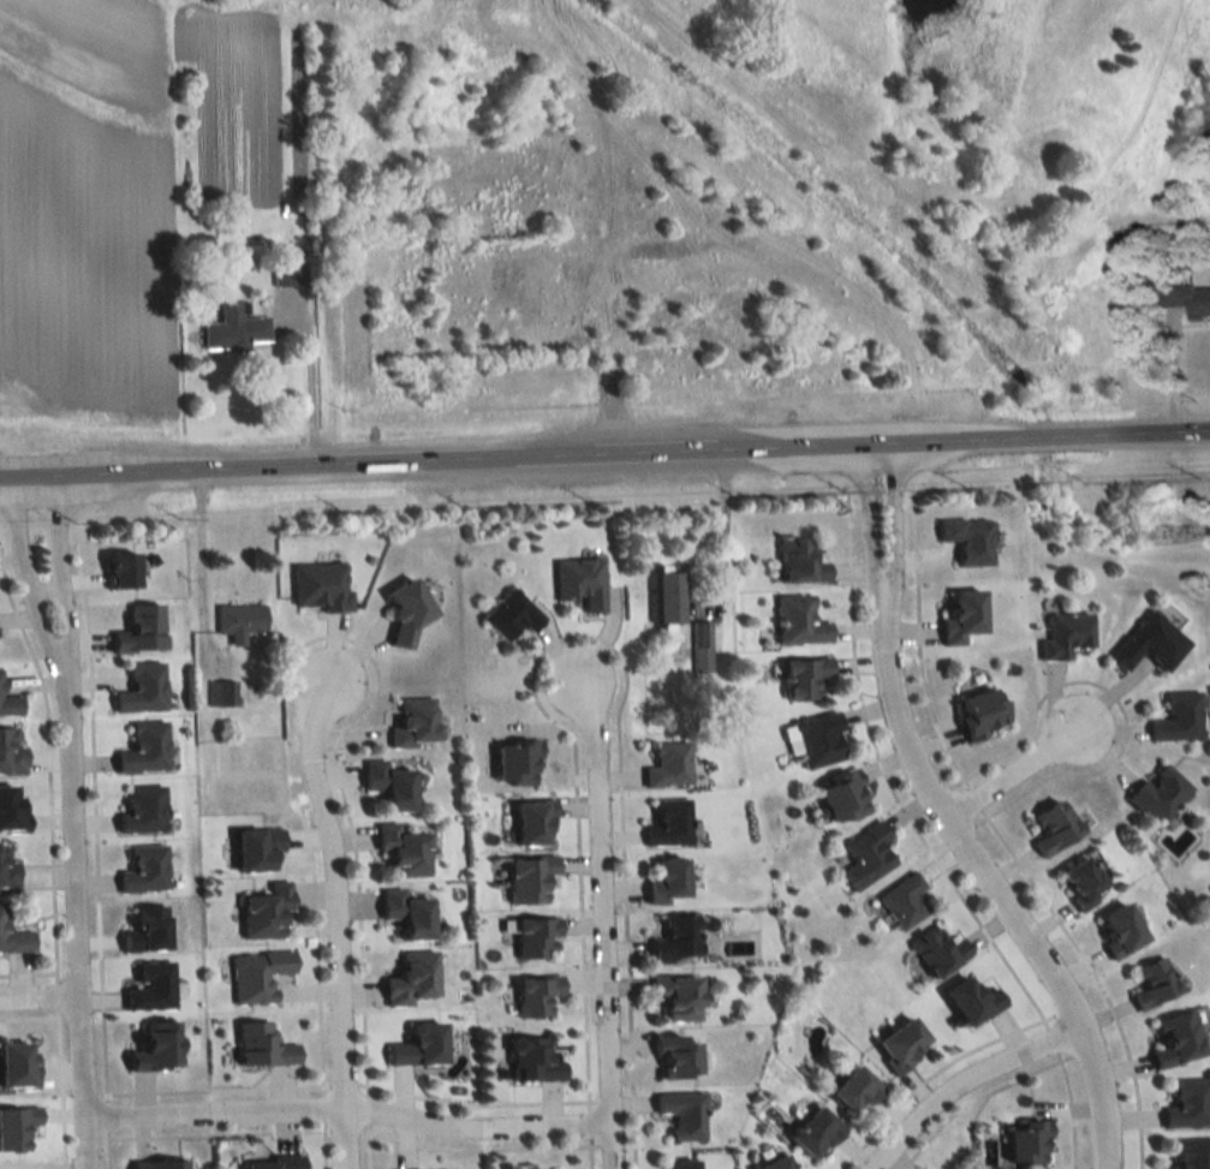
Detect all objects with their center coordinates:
crop: (117, 184)
building: (291, 274)
building: (1187, 299)
building: (237, 328)
road: (310, 381)
road: (604, 457)
road: (966, 481)
road: (723, 530)
building: (965, 538)
building: (797, 561)
building: (118, 568)
road: (60, 579)
building: (579, 580)
road: (25, 583)
building: (320, 585)
road: (47, 595)
building: (664, 596)
road: (880, 600)
building: (404, 612)
building: (508, 613)
building: (959, 616)
building: (238, 620)
building: (797, 621)
building: (138, 627)
building: (1062, 634)
road: (597, 638)
road: (916, 640)
building: (1145, 643)
building: (698, 645)
road: (339, 657)
road: (602, 669)
building: (801, 676)
building: (0, 685)
building: (139, 687)
building: (220, 692)
road: (1113, 700)
building: (8, 704)
building: (977, 712)
building: (1175, 717)
building: (412, 722)
road: (1099, 722)
building: (816, 739)
building: (143, 746)
building: (10, 751)
building: (514, 761)
building: (666, 764)
road: (46, 771)
road: (997, 777)
road: (883, 779)
building: (388, 785)
building: (1156, 792)
building: (840, 797)
road: (971, 799)
road: (342, 804)
building: (142, 809)
building: (11, 810)
road: (94, 821)
building: (531, 821)
building: (668, 821)
building: (1050, 827)
building: (254, 848)
building: (401, 849)
building: (864, 855)
building: (143, 867)
building: (7, 872)
building: (526, 877)
building: (666, 879)
building: (1078, 882)
road: (990, 887)
building: (901, 900)
building: (263, 909)
building: (406, 913)
road: (74, 925)
building: (145, 929)
building: (1115, 930)
building: (13, 935)
building: (532, 936)
road: (336, 937)
road: (601, 938)
building: (672, 940)
road: (314, 950)
building: (935, 950)
road: (26, 971)
building: (256, 974)
road: (1091, 976)
building: (410, 978)
building: (1149, 982)
building: (150, 985)
road: (38, 991)
road: (55, 994)
building: (534, 994)
building: (675, 996)
building: (970, 1000)
road: (28, 1015)
building: (1173, 1038)
road: (1048, 1039)
building: (258, 1044)
building: (154, 1045)
building: (416, 1045)
building: (898, 1046)
building: (673, 1055)
building: (531, 1060)
building: (16, 1066)
road: (931, 1073)
road: (960, 1079)
road: (340, 1081)
road: (58, 1087)
building: (853, 1087)
road: (216, 1089)
road: (972, 1097)
road: (471, 1103)
building: (1184, 1103)
road: (320, 1107)
road: (346, 1108)
road: (364, 1108)
road: (1067, 1108)
building: (681, 1113)
road: (105, 1116)
road: (586, 1122)
building: (16, 1125)
road: (344, 1128)
building: (812, 1132)
road: (217, 1133)
building: (1024, 1141)
road: (321, 1144)
road: (365, 1145)
road: (106, 1149)
road: (476, 1149)
road: (588, 1152)
building: (1187, 1152)
building: (770, 1161)
building: (275, 1162)
building: (156, 1163)
building: (679, 1164)

